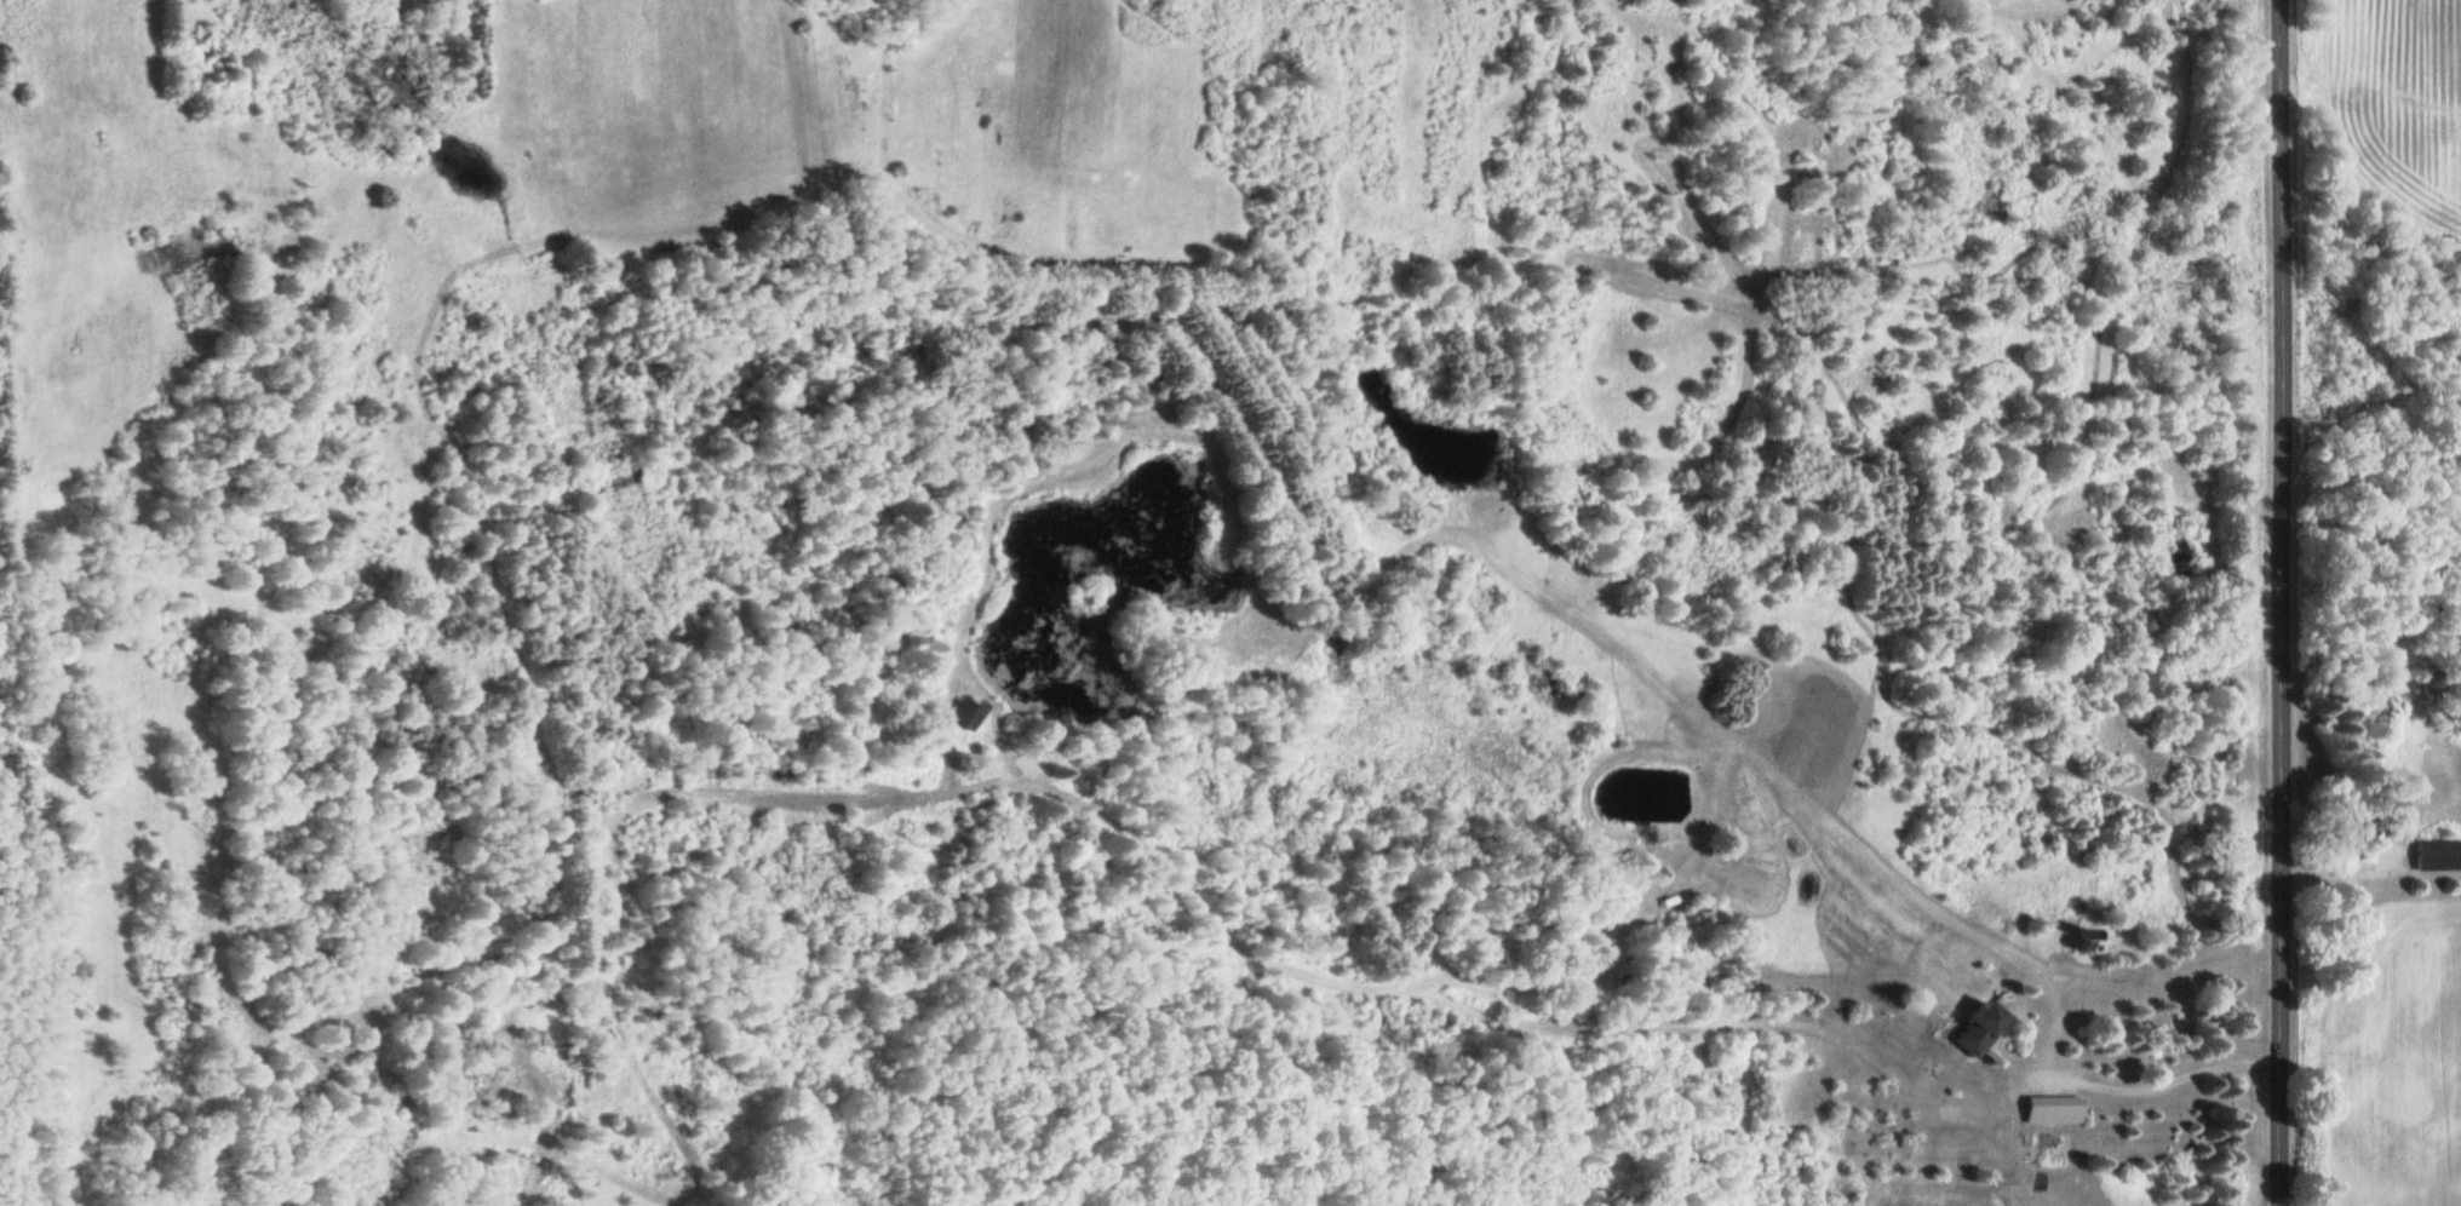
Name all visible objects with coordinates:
road: (2283, 603)
building: (962, 713)
building: (2342, 831)
building: (2436, 855)
building: (1972, 1028)
building: (2048, 1110)

